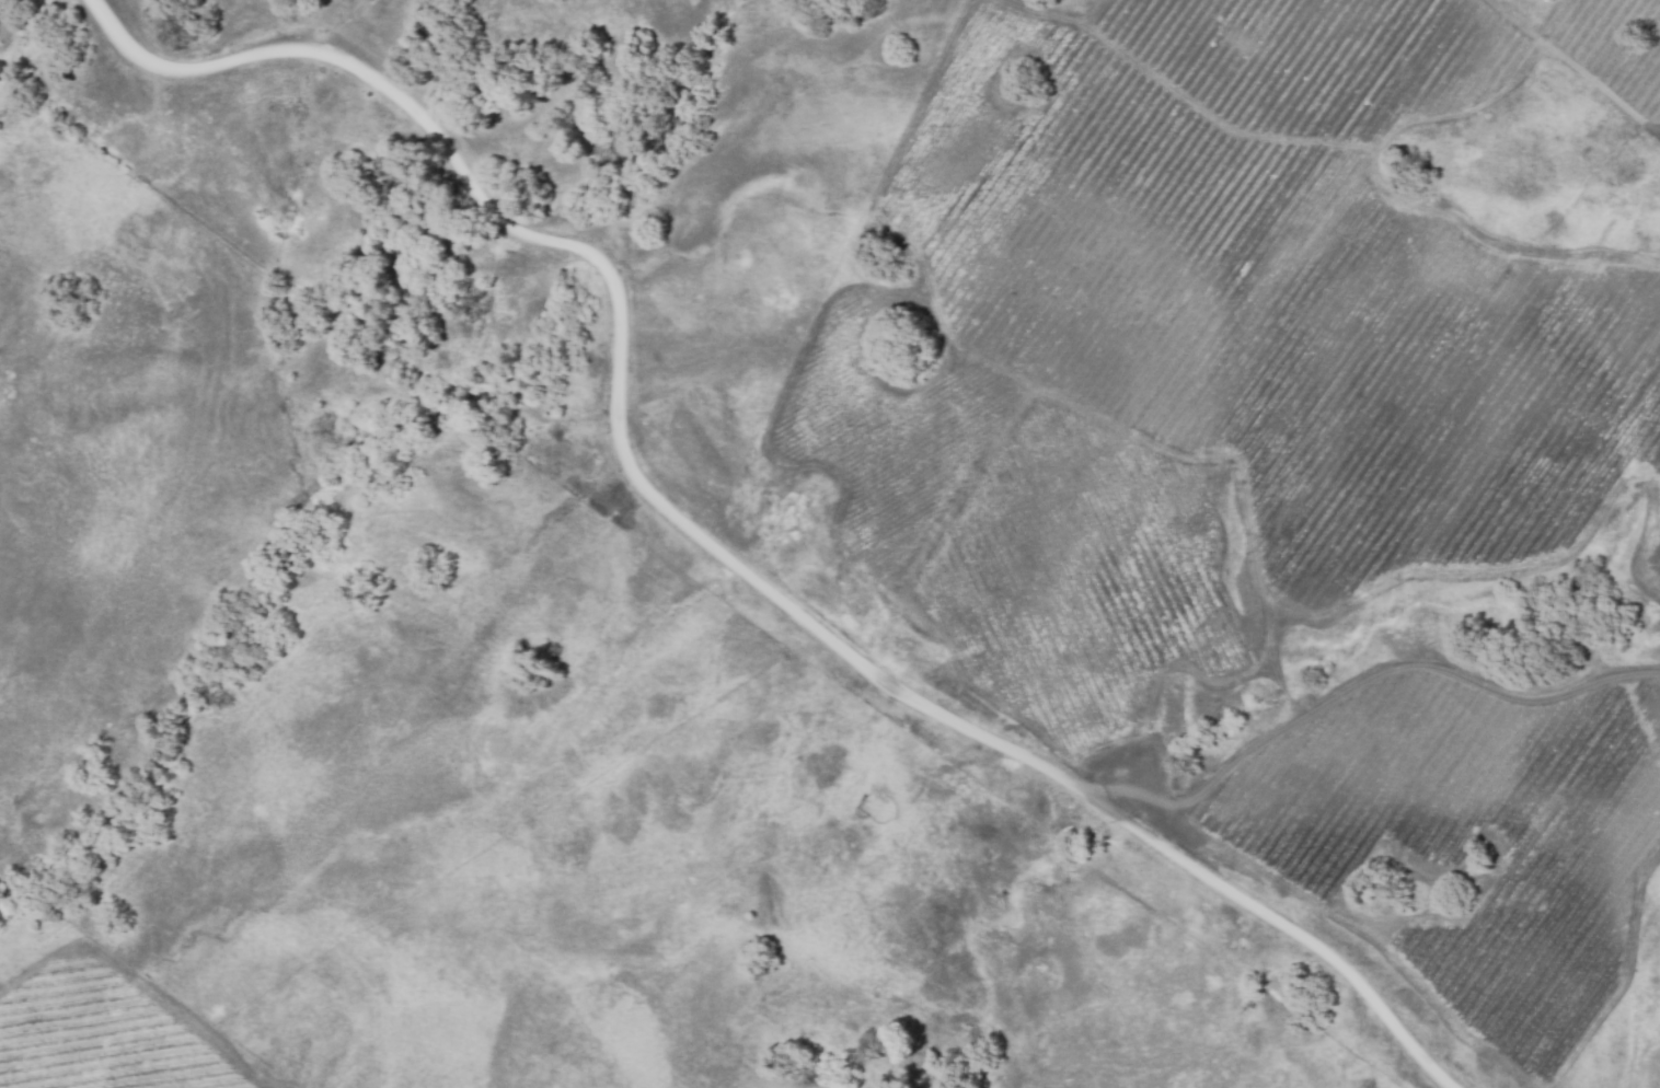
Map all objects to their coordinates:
road: (1576, 68)
road: (1469, 106)
road: (706, 539)
road: (1383, 675)

